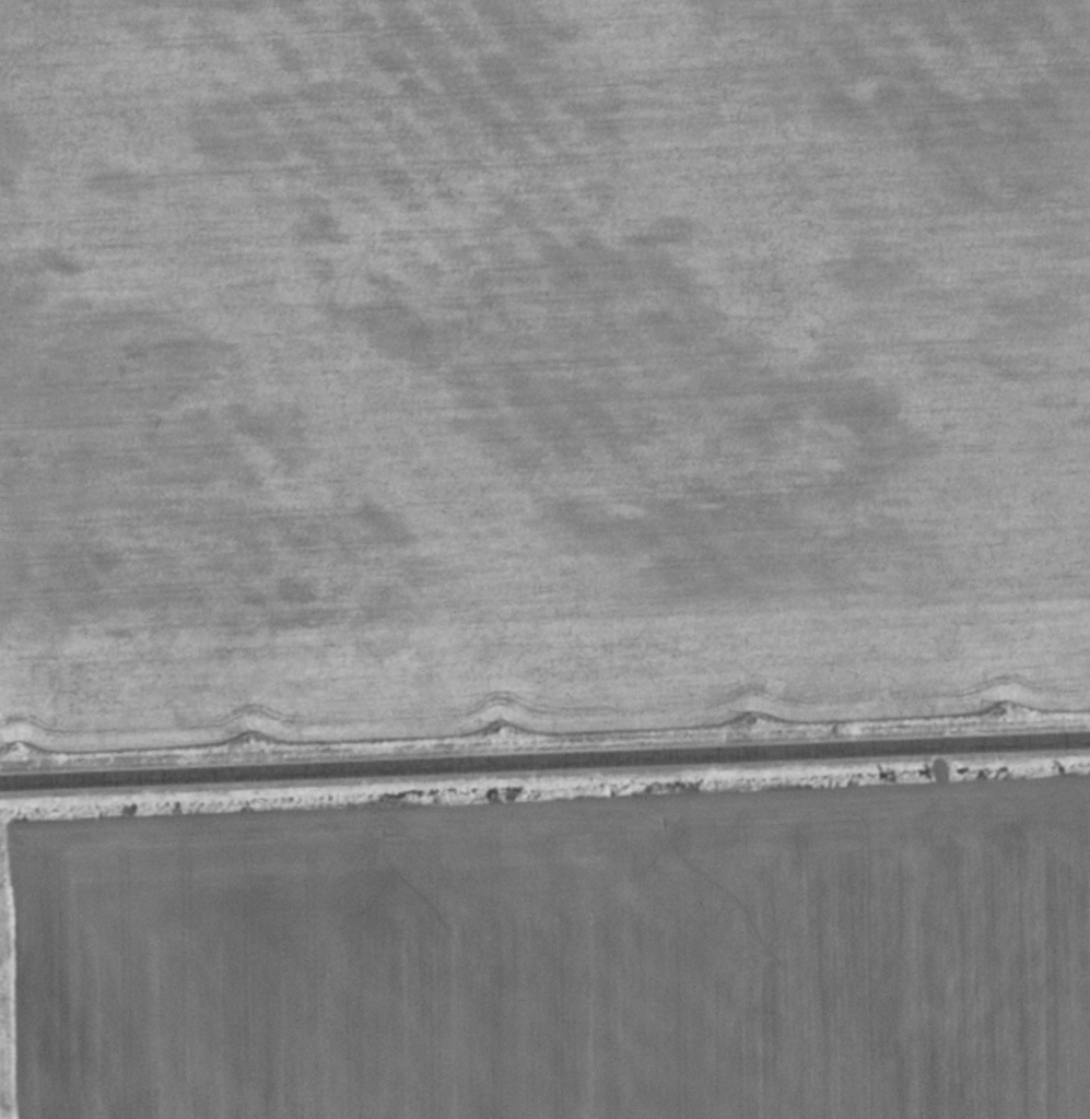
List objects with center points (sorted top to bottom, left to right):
road: (544, 759)

